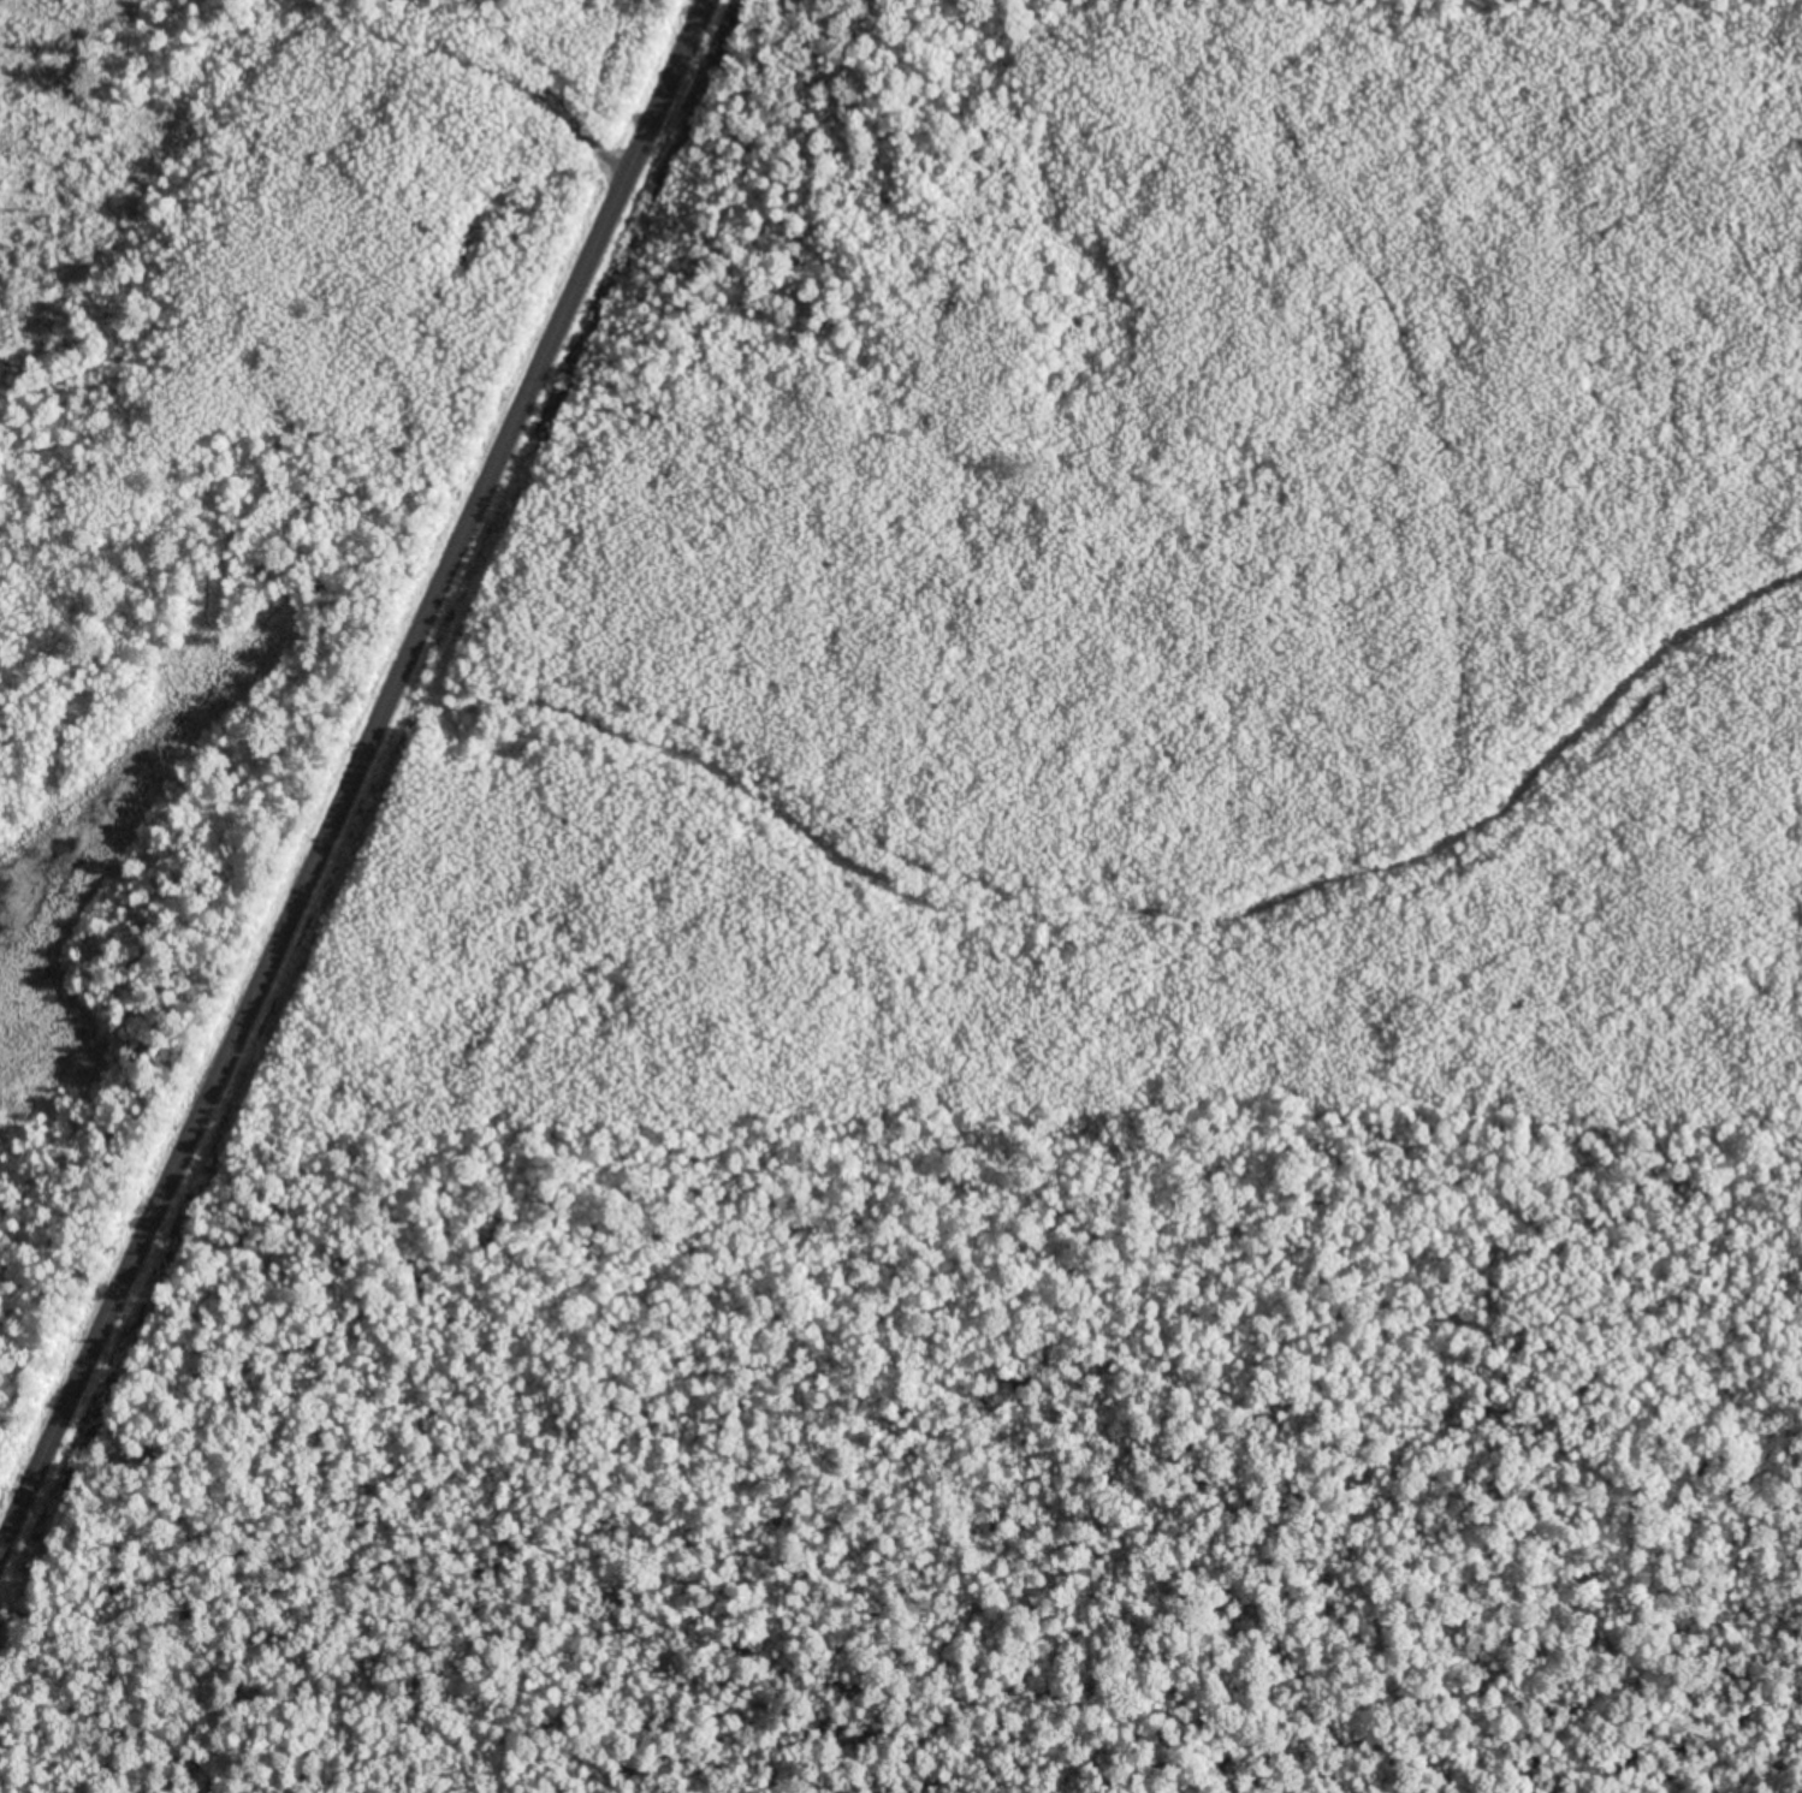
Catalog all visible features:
road: (354, 777)

